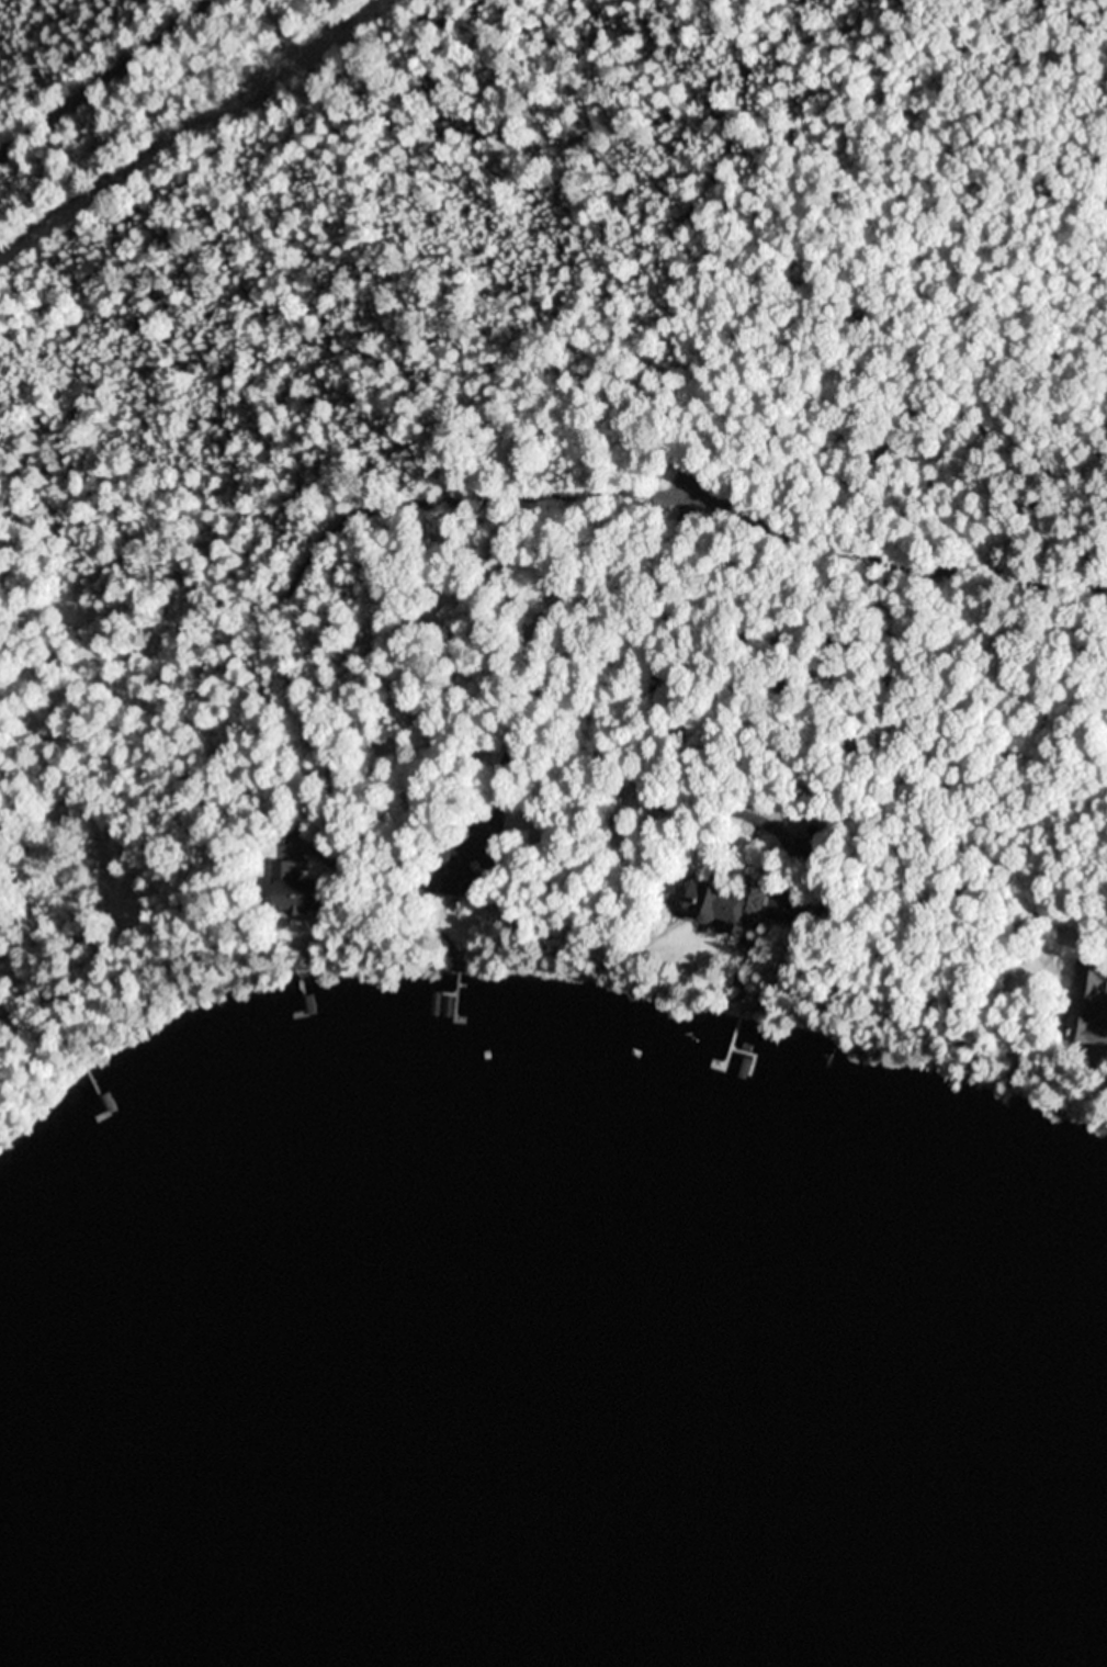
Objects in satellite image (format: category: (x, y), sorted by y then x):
road: (114, 77)
road: (845, 542)
building: (818, 853)
building: (346, 855)
building: (458, 871)
building: (302, 890)
building: (730, 903)
building: (755, 993)
building: (1091, 1004)

